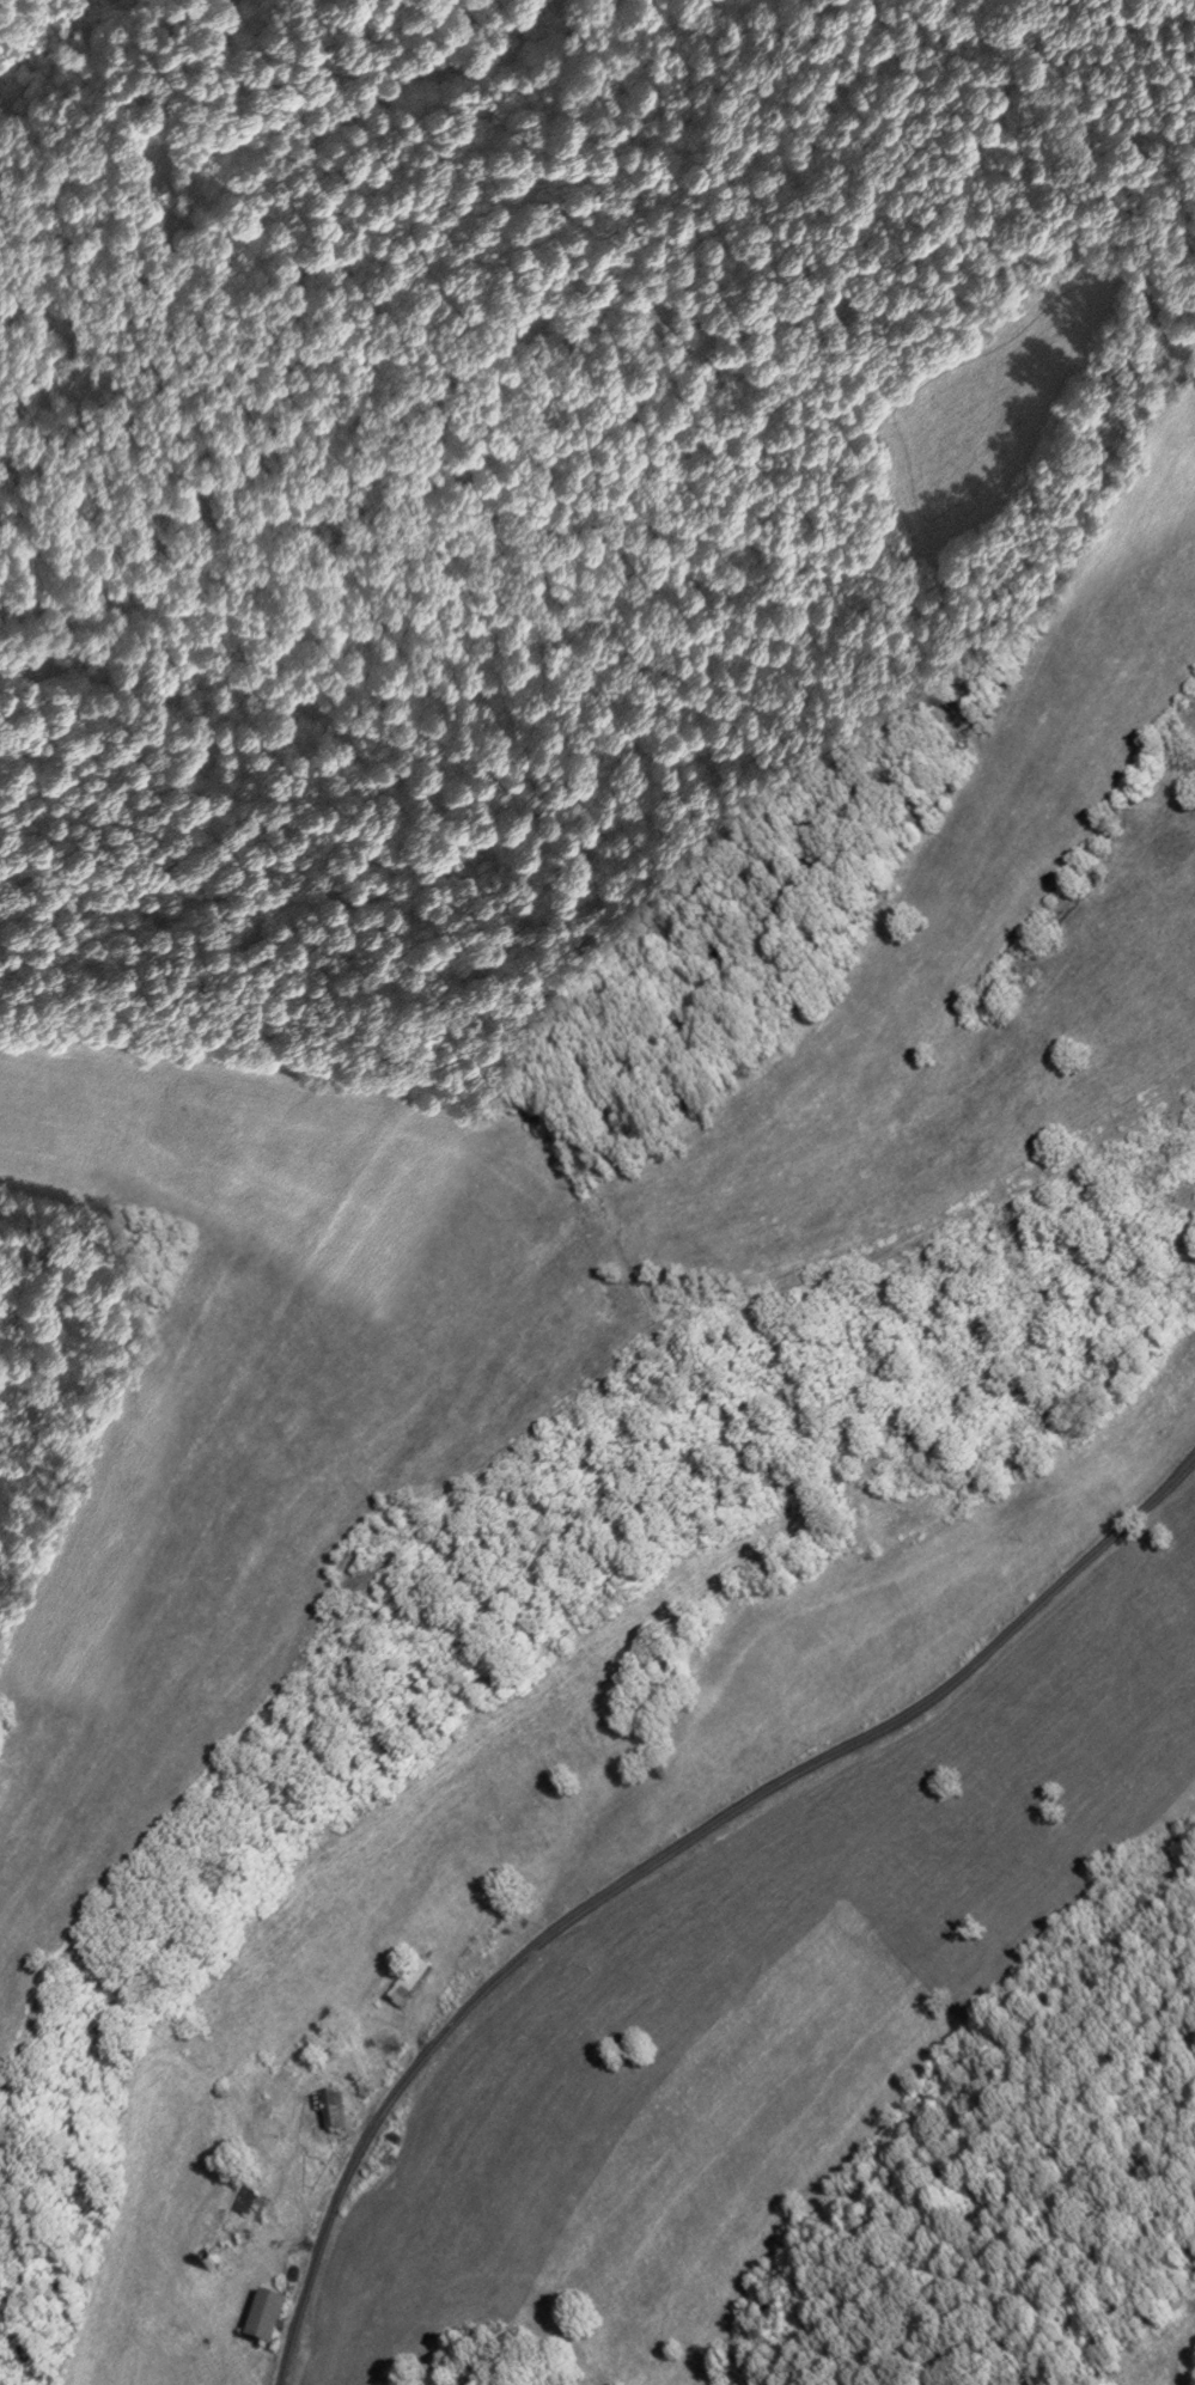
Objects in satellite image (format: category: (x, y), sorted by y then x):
road: (661, 1856)

